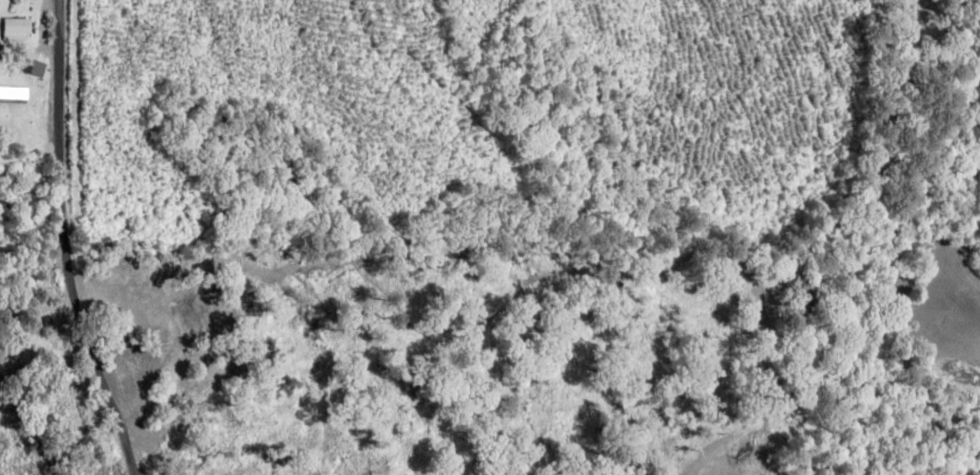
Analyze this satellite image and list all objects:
building: (14, 28)
road: (86, 241)

